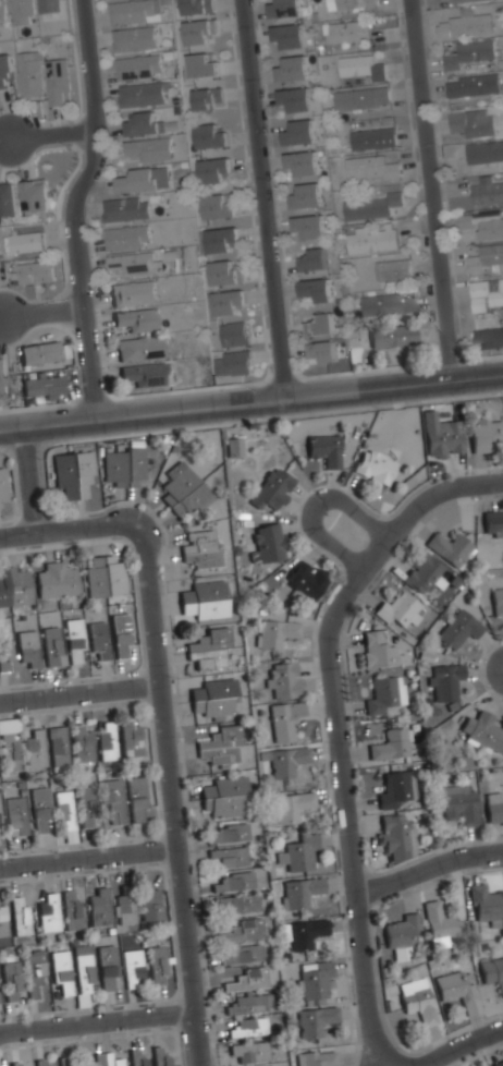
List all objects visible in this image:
building: (459, 1)
building: (354, 2)
building: (49, 5)
building: (195, 5)
building: (286, 8)
building: (2, 10)
building: (22, 11)
building: (132, 11)
building: (465, 23)
building: (347, 28)
building: (198, 29)
building: (289, 35)
building: (134, 37)
building: (468, 51)
building: (200, 64)
building: (138, 65)
building: (293, 66)
building: (359, 66)
building: (5, 71)
building: (29, 74)
building: (56, 80)
building: (473, 84)
building: (144, 93)
building: (297, 97)
building: (361, 97)
building: (207, 98)
building: (471, 121)
building: (143, 122)
building: (300, 131)
road: (50, 133)
building: (209, 135)
building: (372, 137)
building: (149, 148)
building: (484, 150)
building: (304, 160)
building: (370, 167)
building: (212, 168)
building: (143, 179)
road: (430, 190)
building: (486, 191)
building: (35, 194)
building: (307, 195)
road: (263, 198)
building: (8, 199)
building: (218, 205)
building: (370, 205)
road: (72, 207)
building: (125, 207)
building: (481, 223)
building: (311, 225)
building: (126, 235)
building: (220, 238)
building: (371, 238)
building: (25, 242)
building: (314, 258)
building: (486, 258)
building: (132, 262)
building: (393, 268)
building: (225, 271)
building: (36, 272)
building: (317, 288)
building: (133, 291)
building: (486, 292)
building: (229, 301)
building: (388, 303)
road: (41, 312)
building: (137, 318)
building: (321, 323)
building: (234, 332)
building: (392, 335)
building: (488, 337)
building: (138, 347)
building: (322, 350)
building: (39, 353)
building: (232, 362)
building: (147, 373)
building: (2, 381)
building: (44, 386)
road: (250, 401)
building: (484, 435)
building: (442, 436)
building: (234, 447)
building: (324, 450)
building: (124, 467)
building: (373, 468)
building: (73, 474)
road: (29, 477)
building: (2, 484)
building: (183, 489)
building: (271, 489)
building: (492, 521)
road: (71, 528)
road: (344, 534)
building: (268, 543)
building: (450, 547)
building: (200, 550)
building: (422, 572)
building: (103, 574)
building: (54, 579)
building: (14, 584)
building: (496, 597)
building: (204, 601)
building: (396, 609)
building: (458, 627)
building: (275, 633)
building: (120, 634)
building: (73, 640)
building: (97, 640)
building: (51, 645)
building: (26, 649)
building: (377, 649)
building: (208, 650)
building: (5, 651)
building: (283, 680)
building: (444, 680)
road: (82, 692)
building: (382, 694)
building: (212, 699)
building: (284, 720)
road: (343, 727)
building: (482, 731)
building: (130, 738)
building: (107, 739)
building: (81, 742)
building: (9, 743)
building: (58, 744)
building: (390, 744)
building: (220, 747)
building: (33, 748)
building: (283, 761)
building: (394, 789)
road: (177, 795)
building: (223, 796)
building: (113, 797)
building: (136, 798)
building: (85, 807)
building: (292, 807)
building: (461, 808)
building: (40, 809)
building: (64, 809)
building: (494, 811)
building: (14, 815)
building: (229, 834)
building: (395, 837)
building: (299, 853)
road: (91, 855)
building: (229, 857)
road: (432, 863)
building: (233, 883)
building: (299, 893)
building: (148, 901)
building: (123, 905)
building: (238, 905)
building: (486, 905)
building: (97, 907)
building: (70, 909)
building: (46, 911)
building: (17, 914)
building: (1, 919)
building: (437, 923)
building: (242, 931)
building: (402, 931)
building: (304, 933)
building: (240, 955)
building: (157, 964)
building: (106, 965)
building: (132, 967)
building: (60, 969)
building: (34, 971)
building: (83, 971)
building: (492, 972)
building: (315, 979)
building: (11, 980)
building: (247, 980)
building: (457, 988)
building: (417, 1000)
building: (245, 1004)
road: (98, 1021)
building: (316, 1021)
building: (248, 1028)
road: (455, 1045)
building: (249, 1052)
building: (160, 1057)
building: (136, 1058)
building: (103, 1061)
building: (66, 1062)
building: (44, 1063)
building: (15, 1064)
building: (498, 1064)

